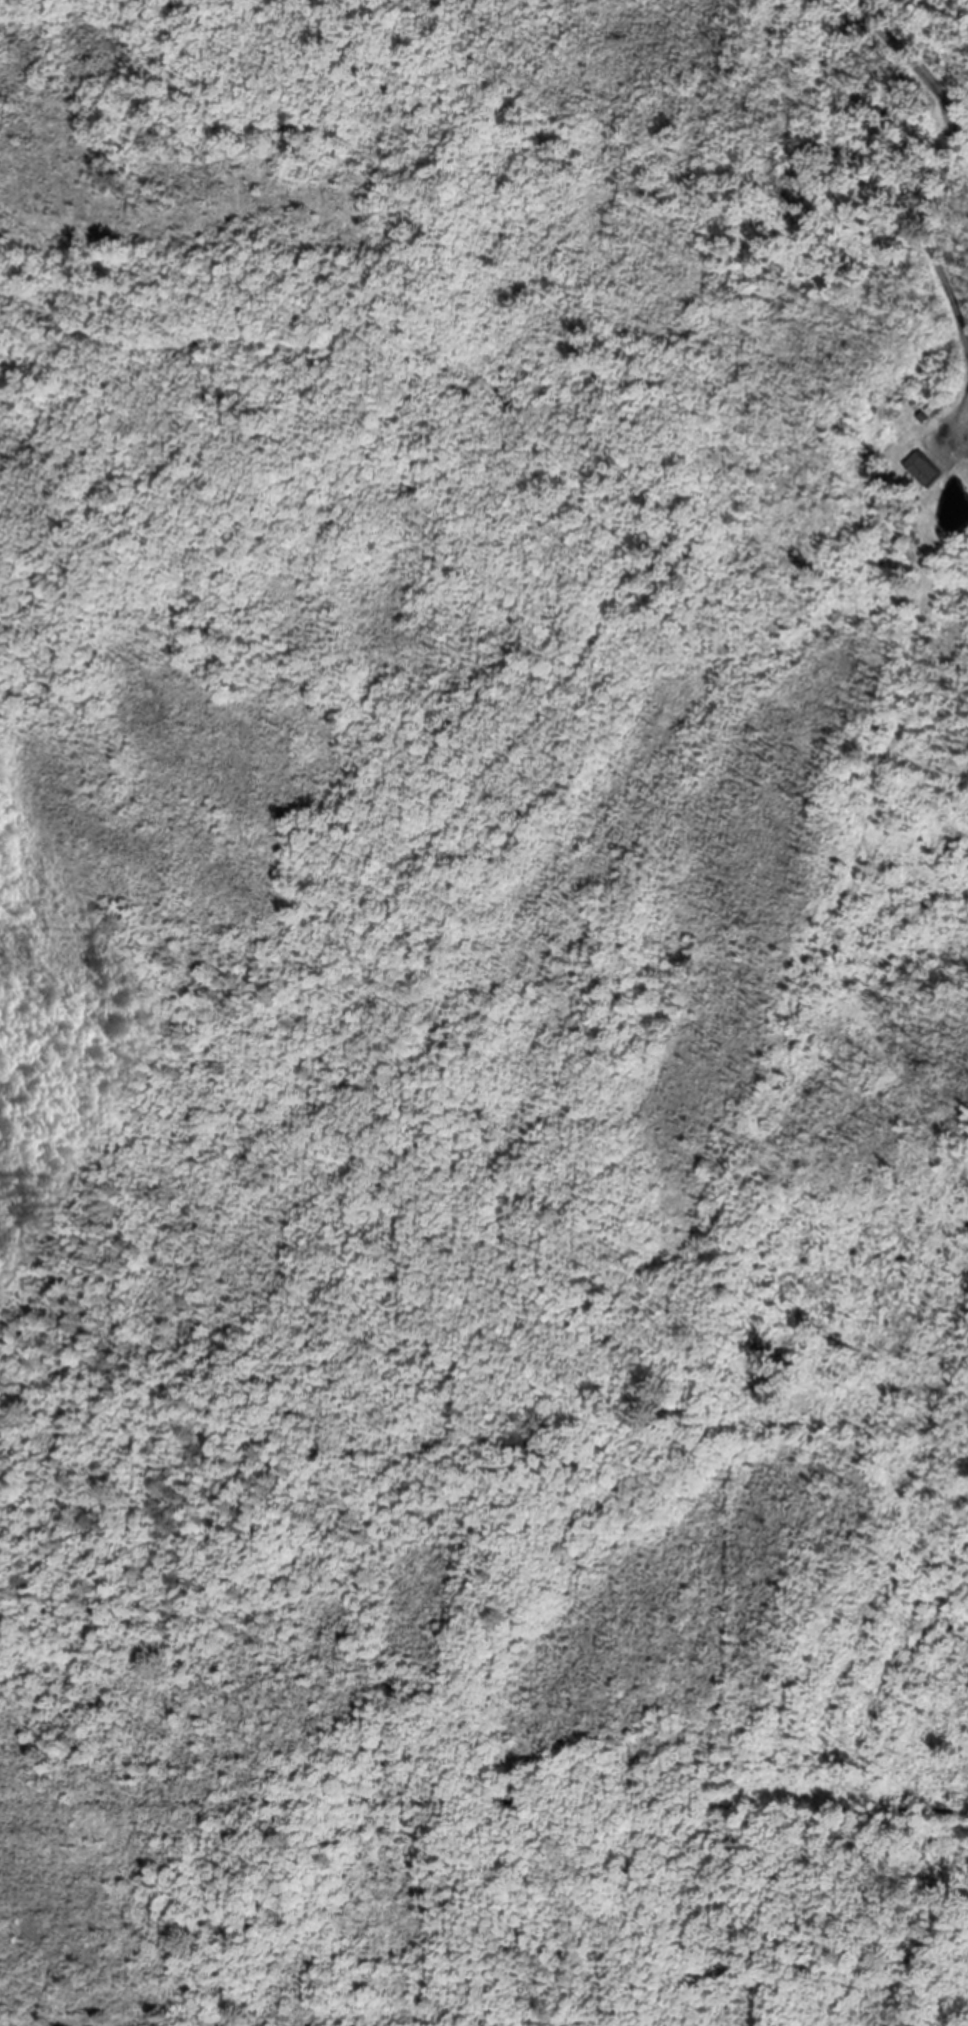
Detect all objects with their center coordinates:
road: (938, 176)
road: (962, 407)
building: (924, 469)

